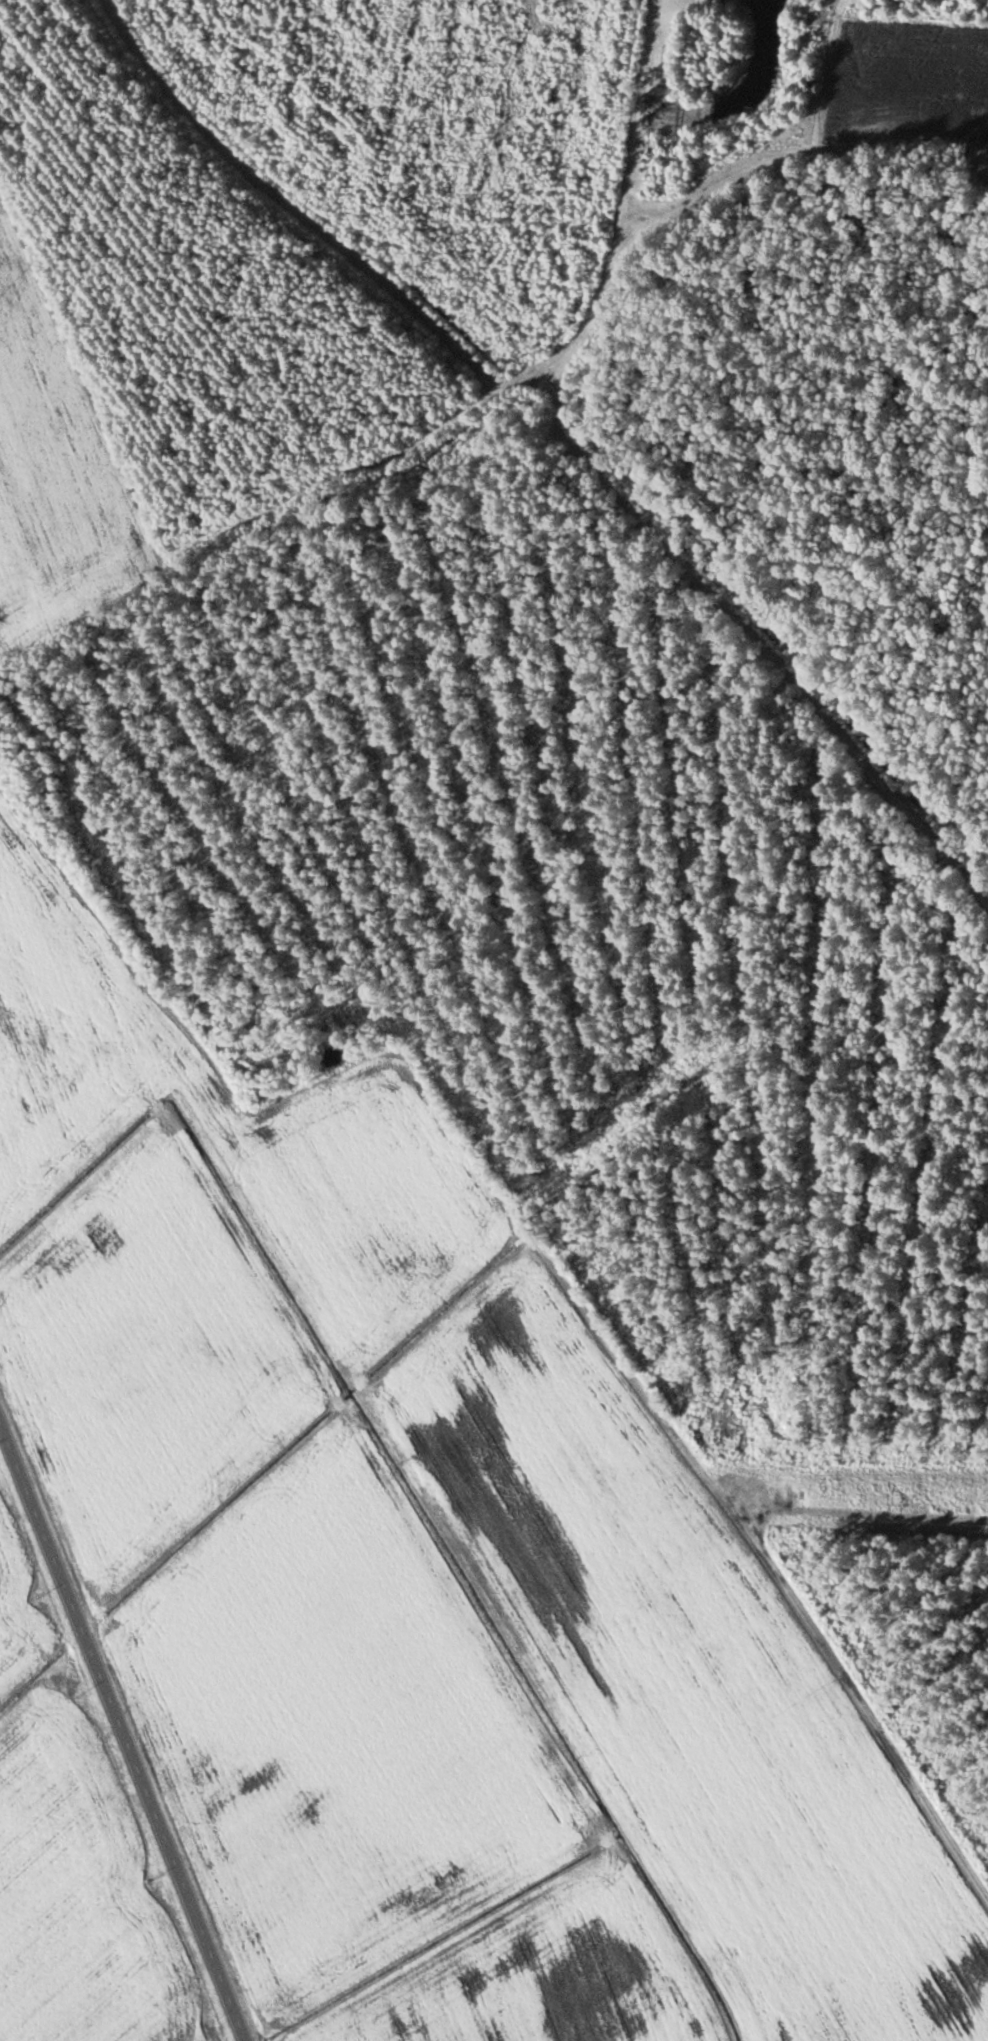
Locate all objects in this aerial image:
power tower: (437, 1492)
power tower: (907, 1499)
road: (128, 1709)

